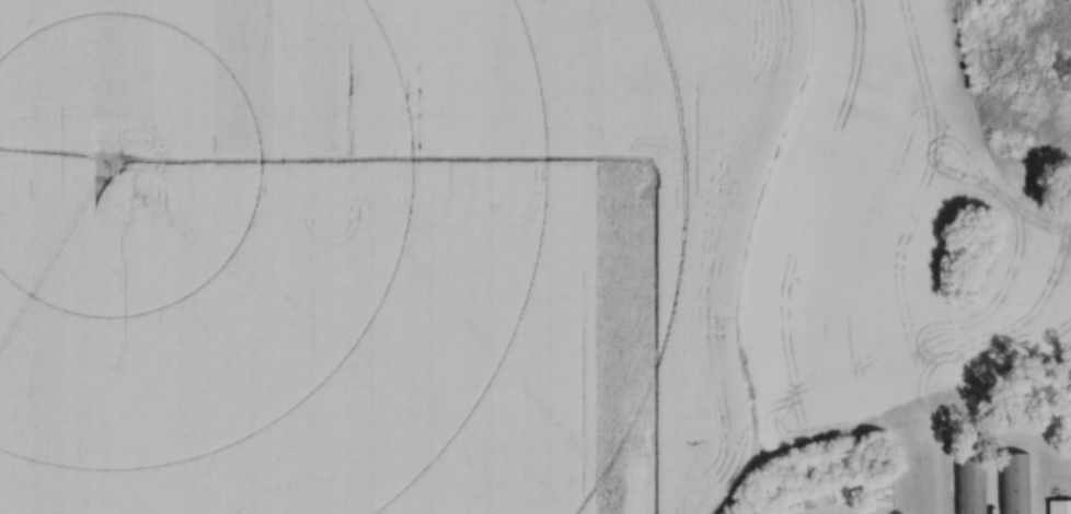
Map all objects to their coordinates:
building: (1013, 482)
building: (970, 488)
building: (1059, 506)

